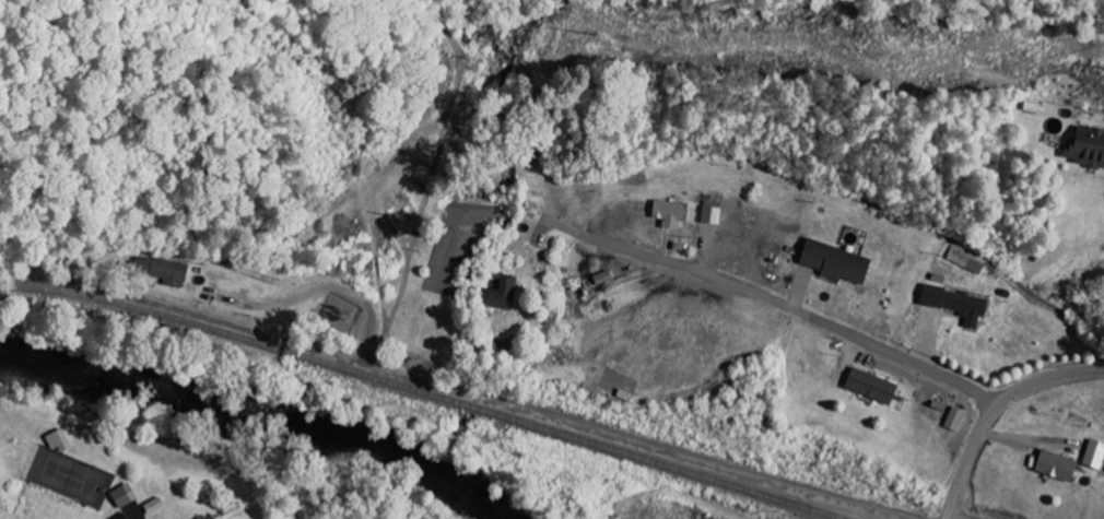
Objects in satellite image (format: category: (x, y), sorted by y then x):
building: (1089, 146)
building: (714, 212)
building: (676, 213)
building: (839, 262)
building: (164, 270)
building: (604, 278)
building: (504, 293)
building: (960, 304)
building: (874, 386)
railway: (427, 390)
river: (269, 408)
road: (994, 408)
building: (956, 418)
road: (634, 435)
building: (60, 440)
building: (1095, 455)
building: (1059, 465)
building: (126, 495)
building: (235, 510)
building: (124, 516)
road: (140, 518)

